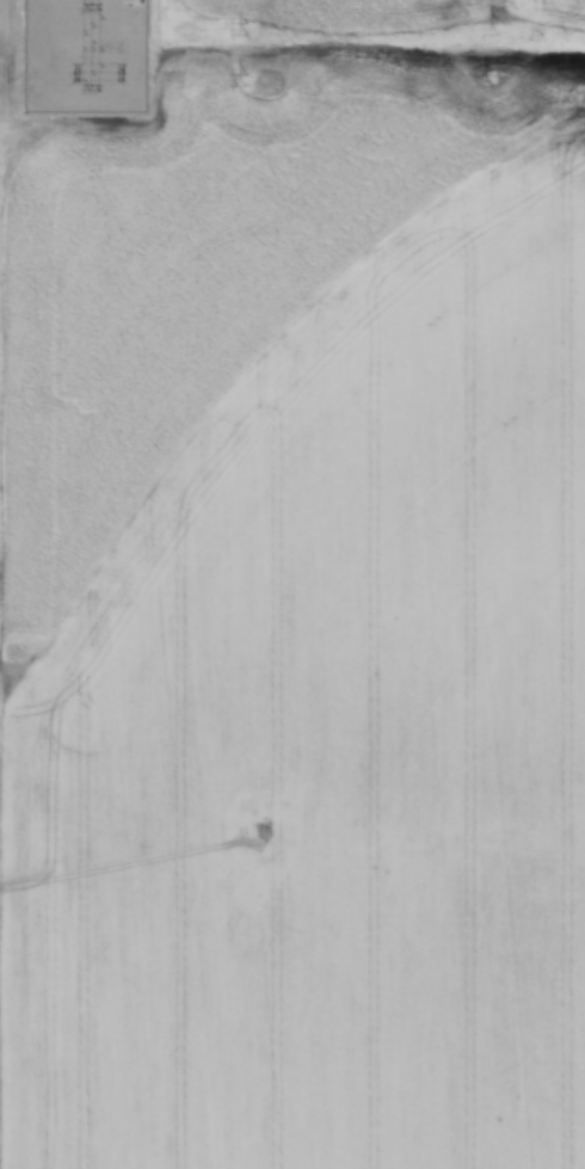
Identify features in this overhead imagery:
power tower: (247, 29)
power tower: (498, 29)
power substation: (87, 55)
power tower: (492, 80)
power tower: (246, 81)

